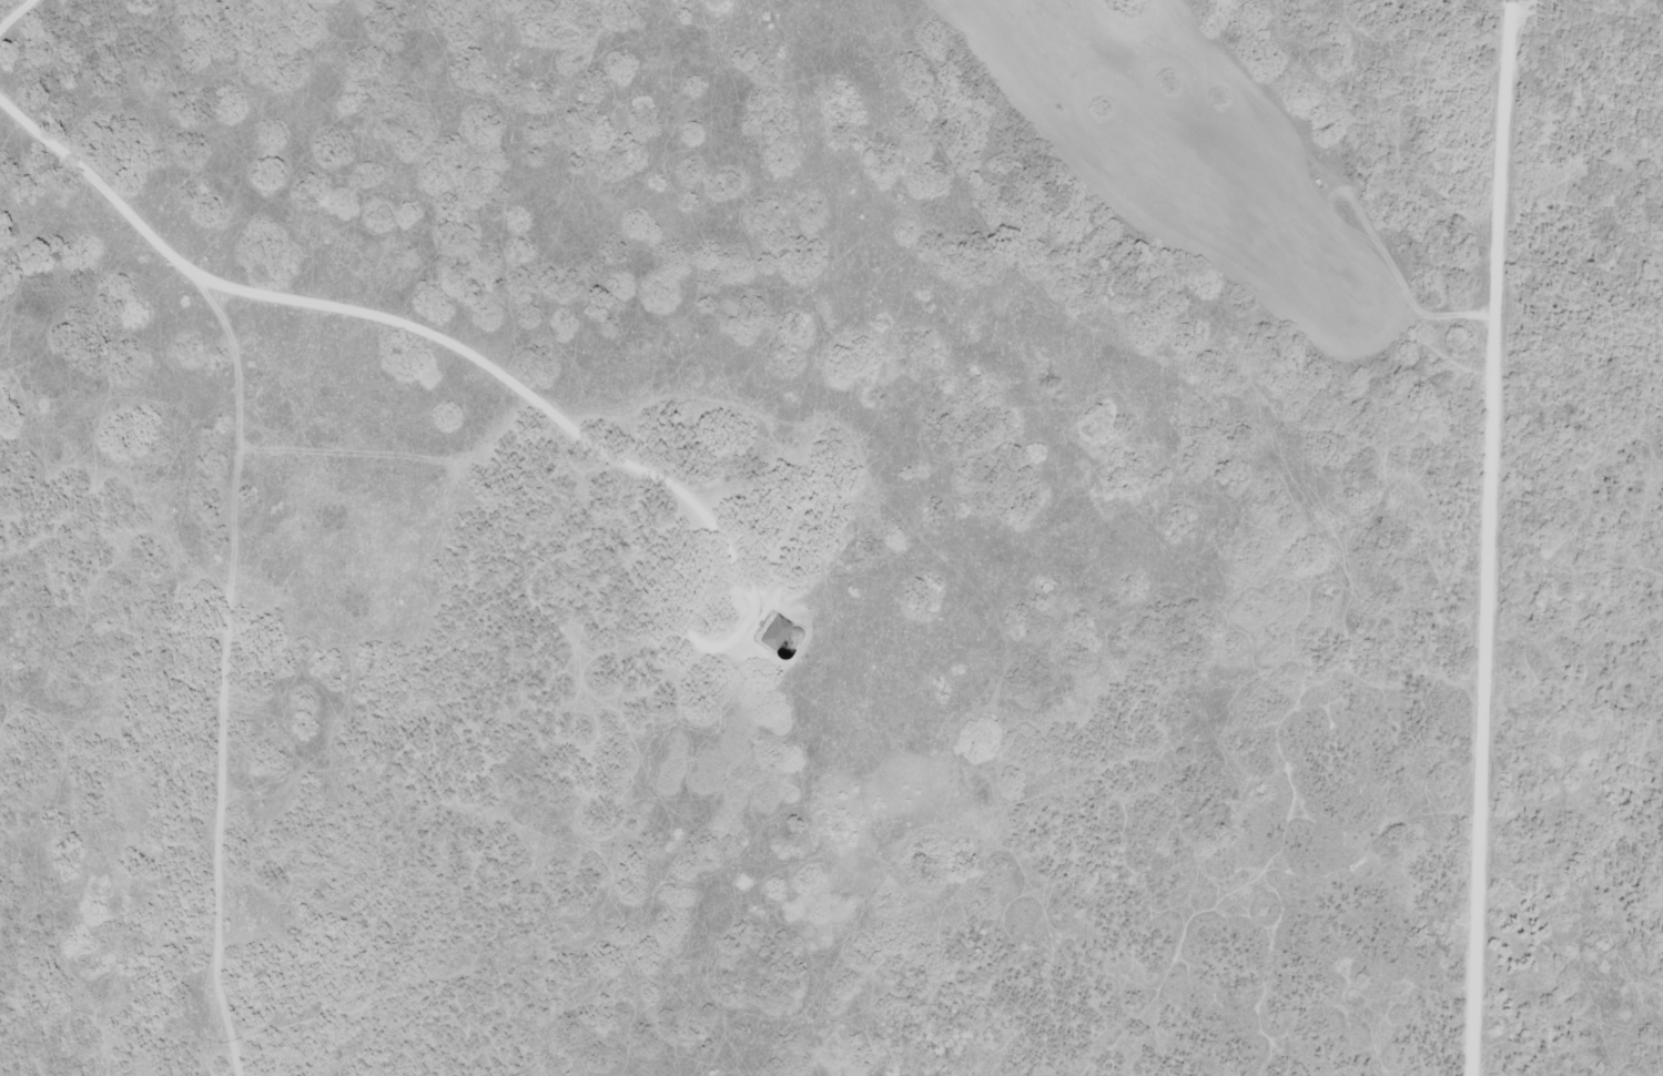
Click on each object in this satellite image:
road: (243, 532)

